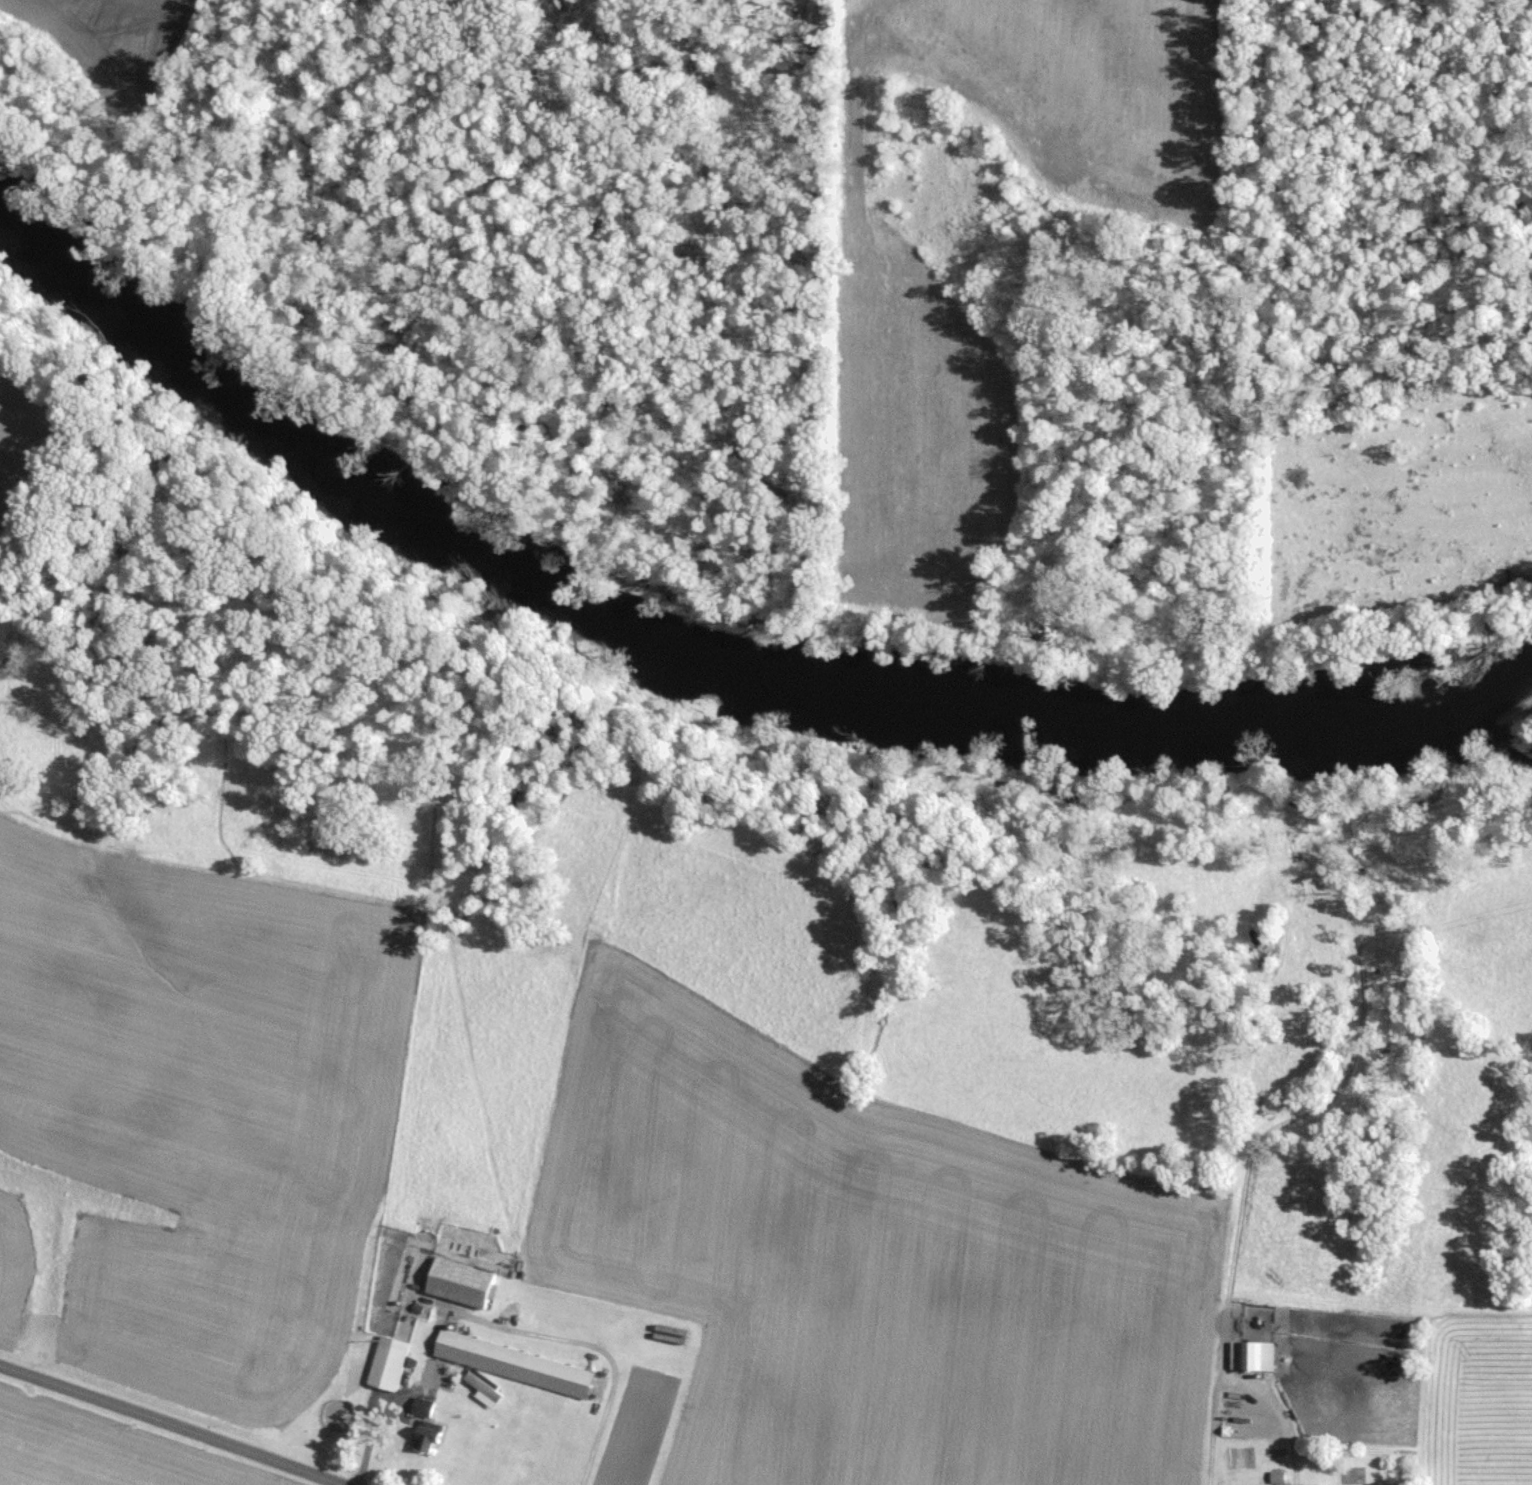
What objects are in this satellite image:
river: (694, 639)
building: (464, 1282)
road: (492, 1326)
building: (1254, 1354)
building: (391, 1361)
building: (514, 1366)
road: (1242, 1383)
road: (169, 1424)
building: (1285, 1484)

